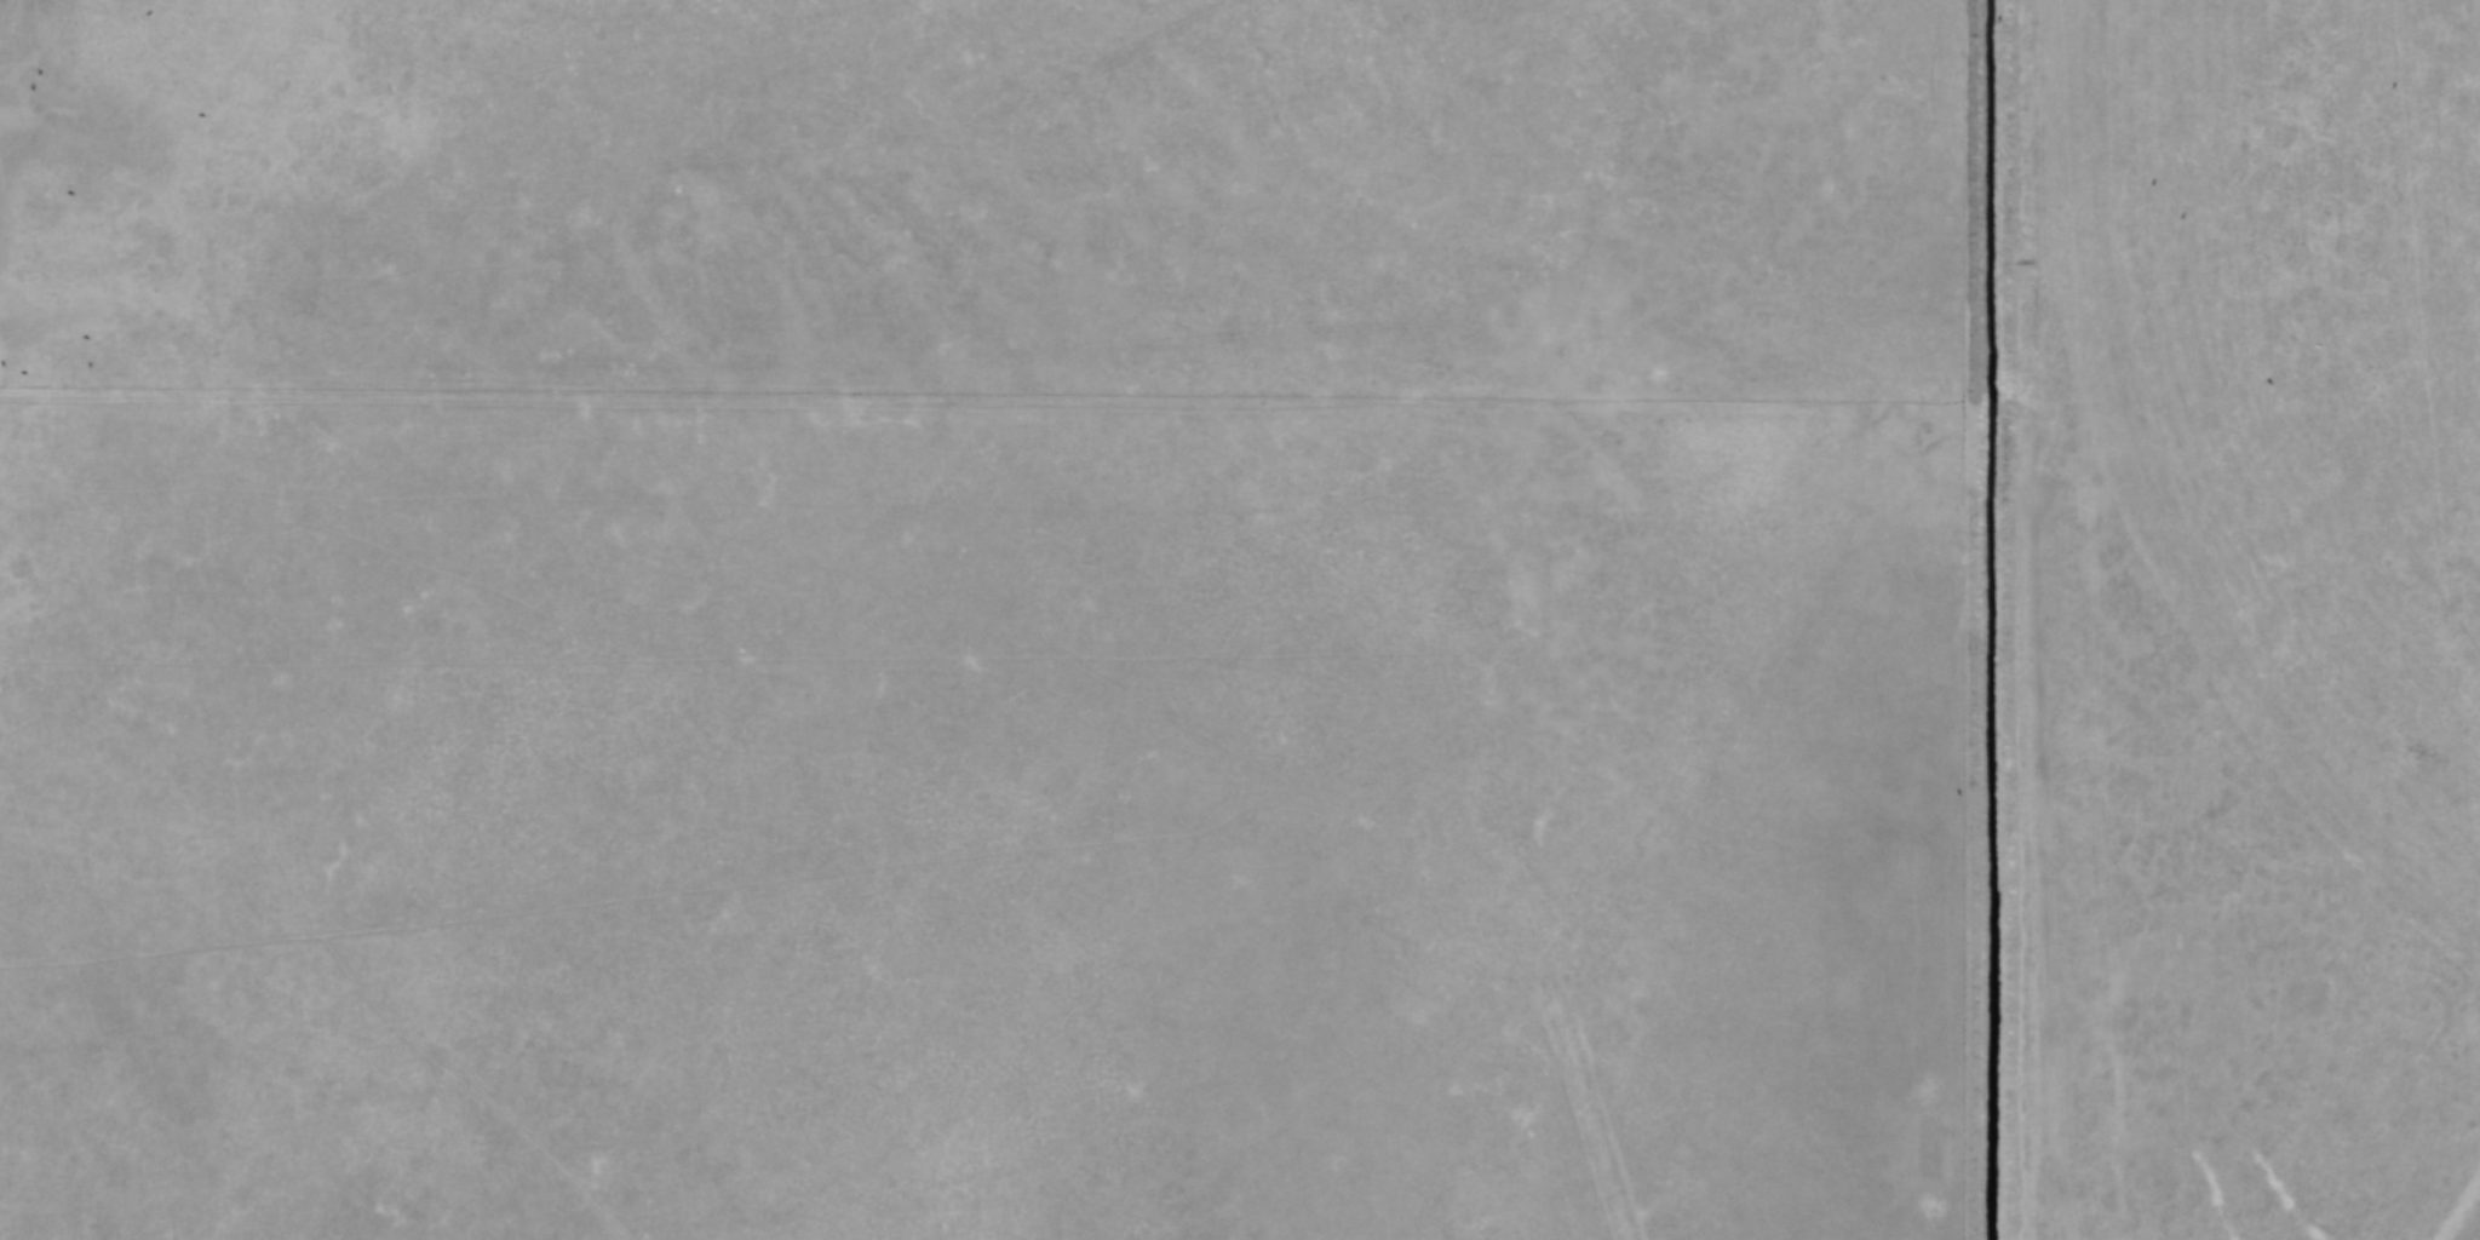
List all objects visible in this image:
crop: (2325, 349)

